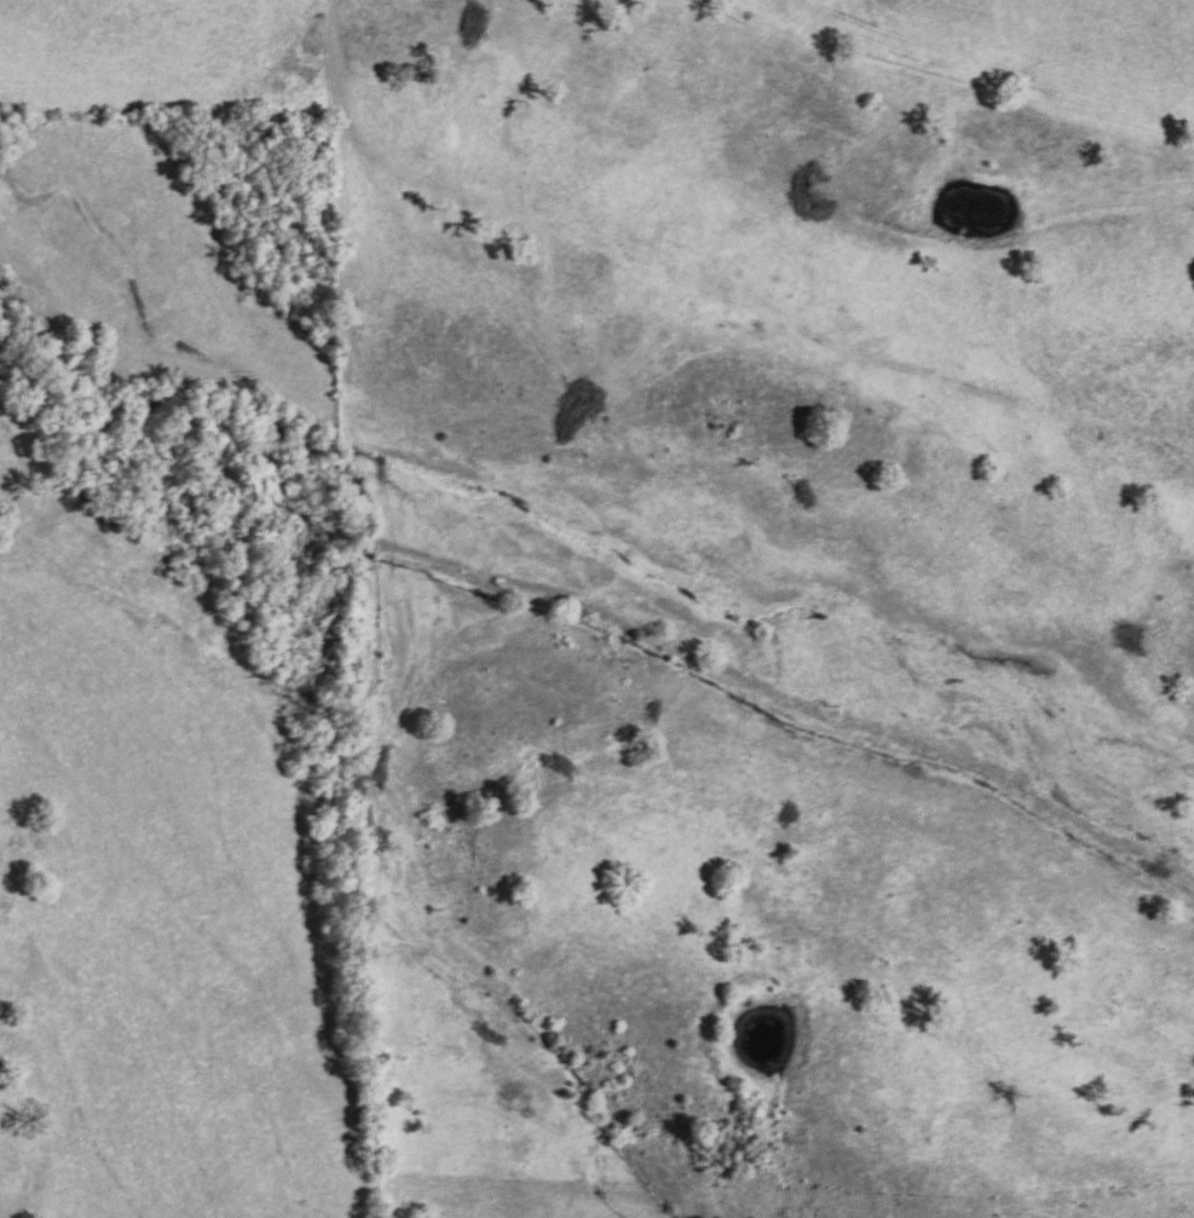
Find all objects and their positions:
road: (11, 1126)

